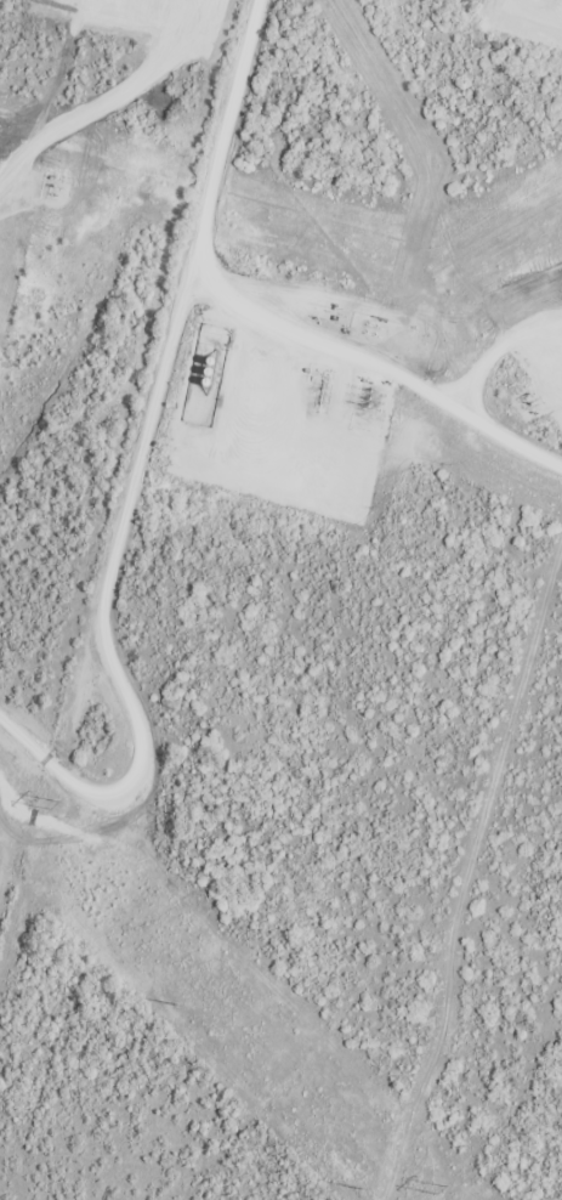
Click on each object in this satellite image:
power tower: (53, 804)
power tower: (176, 1006)
power tower: (361, 1189)
power tower: (436, 1195)

